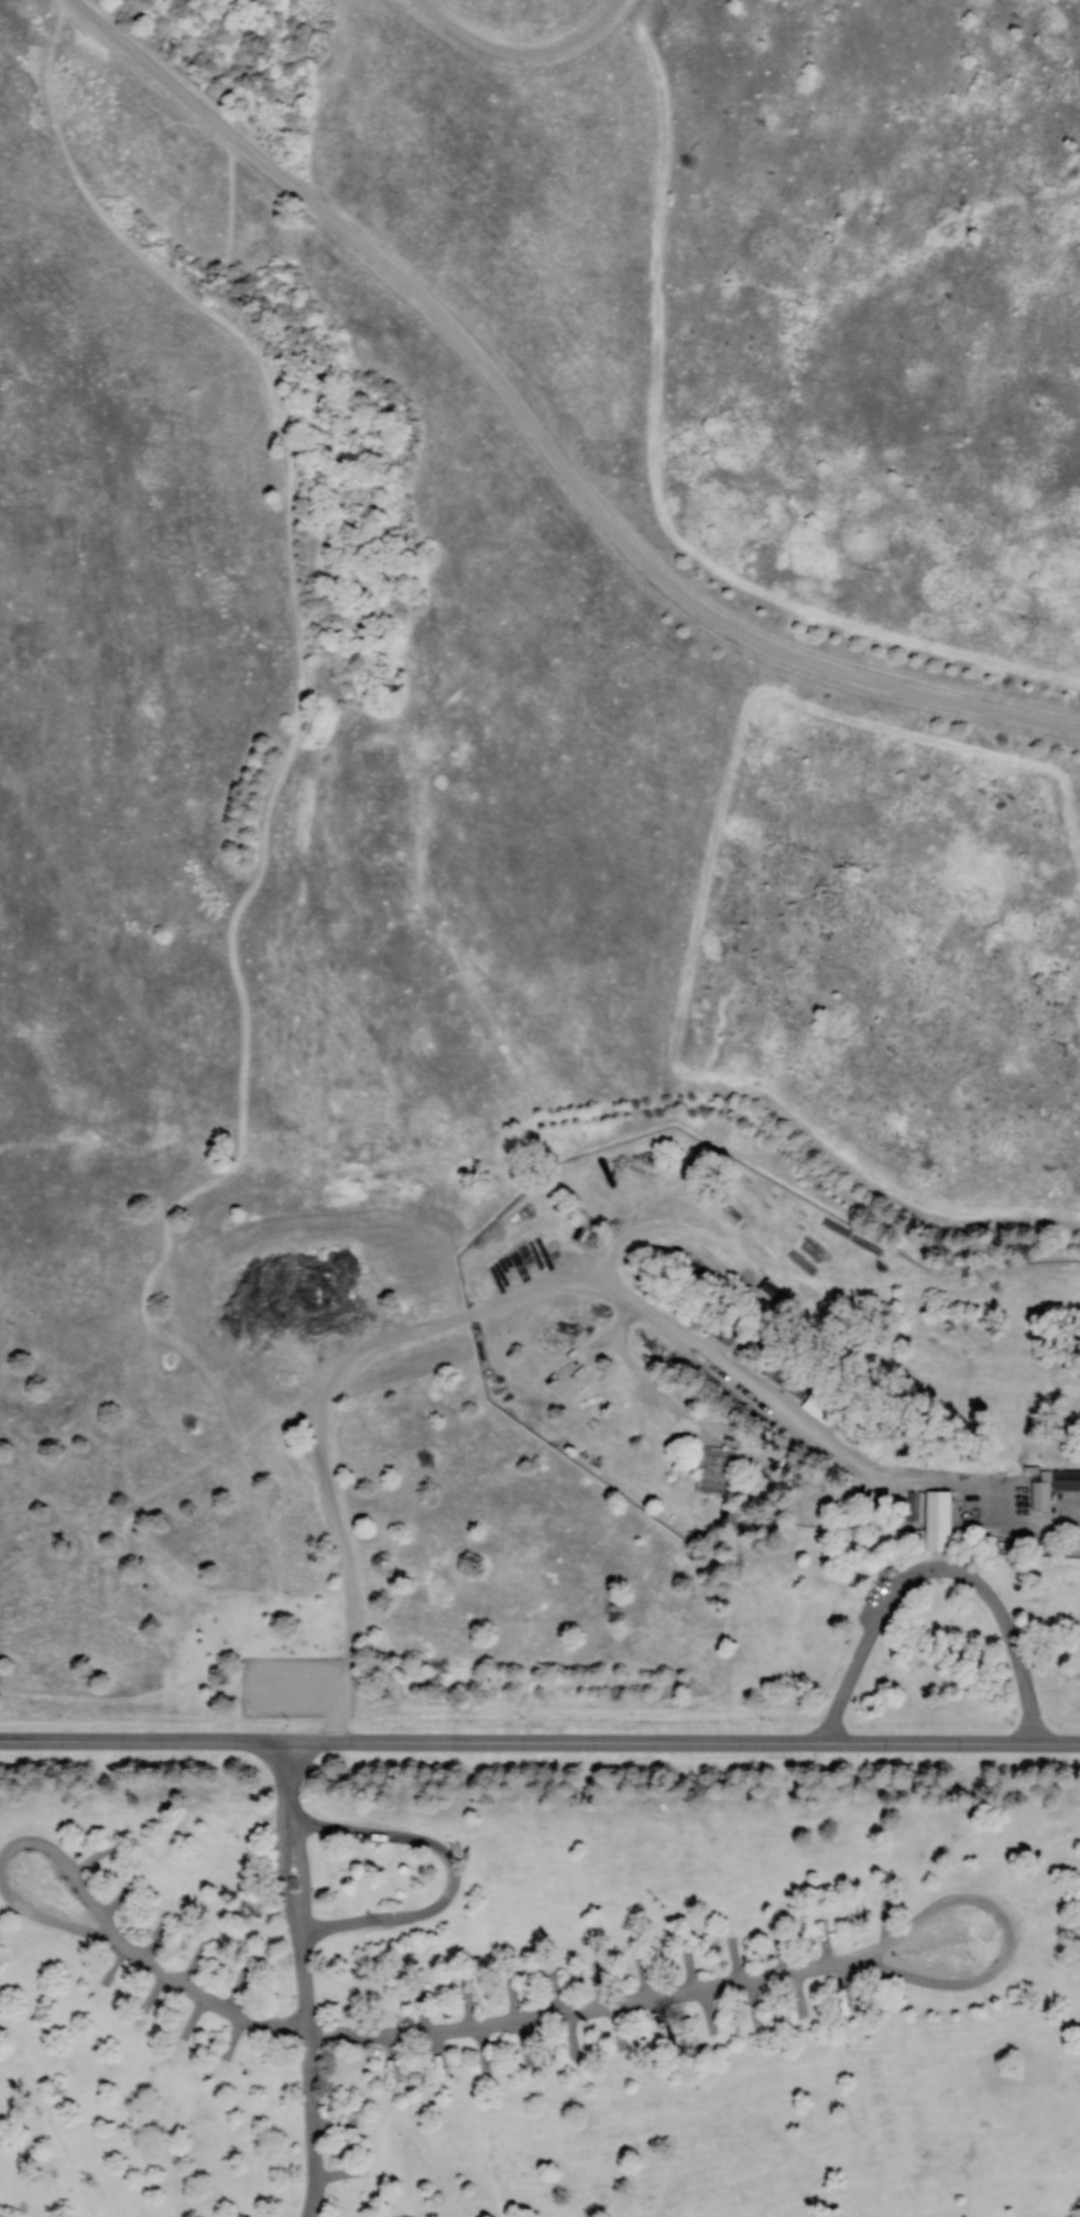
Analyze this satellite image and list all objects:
road: (520, 53)
road: (538, 434)
road: (347, 624)
park: (539, 1108)
road: (223, 1170)
building: (723, 1333)
building: (714, 1470)
building: (1066, 1480)
building: (1039, 1495)
building: (937, 1520)
road: (934, 1571)
parking lot: (296, 1687)
road: (160, 1693)
road: (327, 1730)
road: (539, 1745)
road: (145, 1812)
road: (685, 1815)
road: (66, 1862)
road: (452, 1872)
building: (290, 1882)
road: (47, 1922)
road: (765, 1975)
road: (299, 1980)
road: (198, 1996)
road: (1077, 2211)

